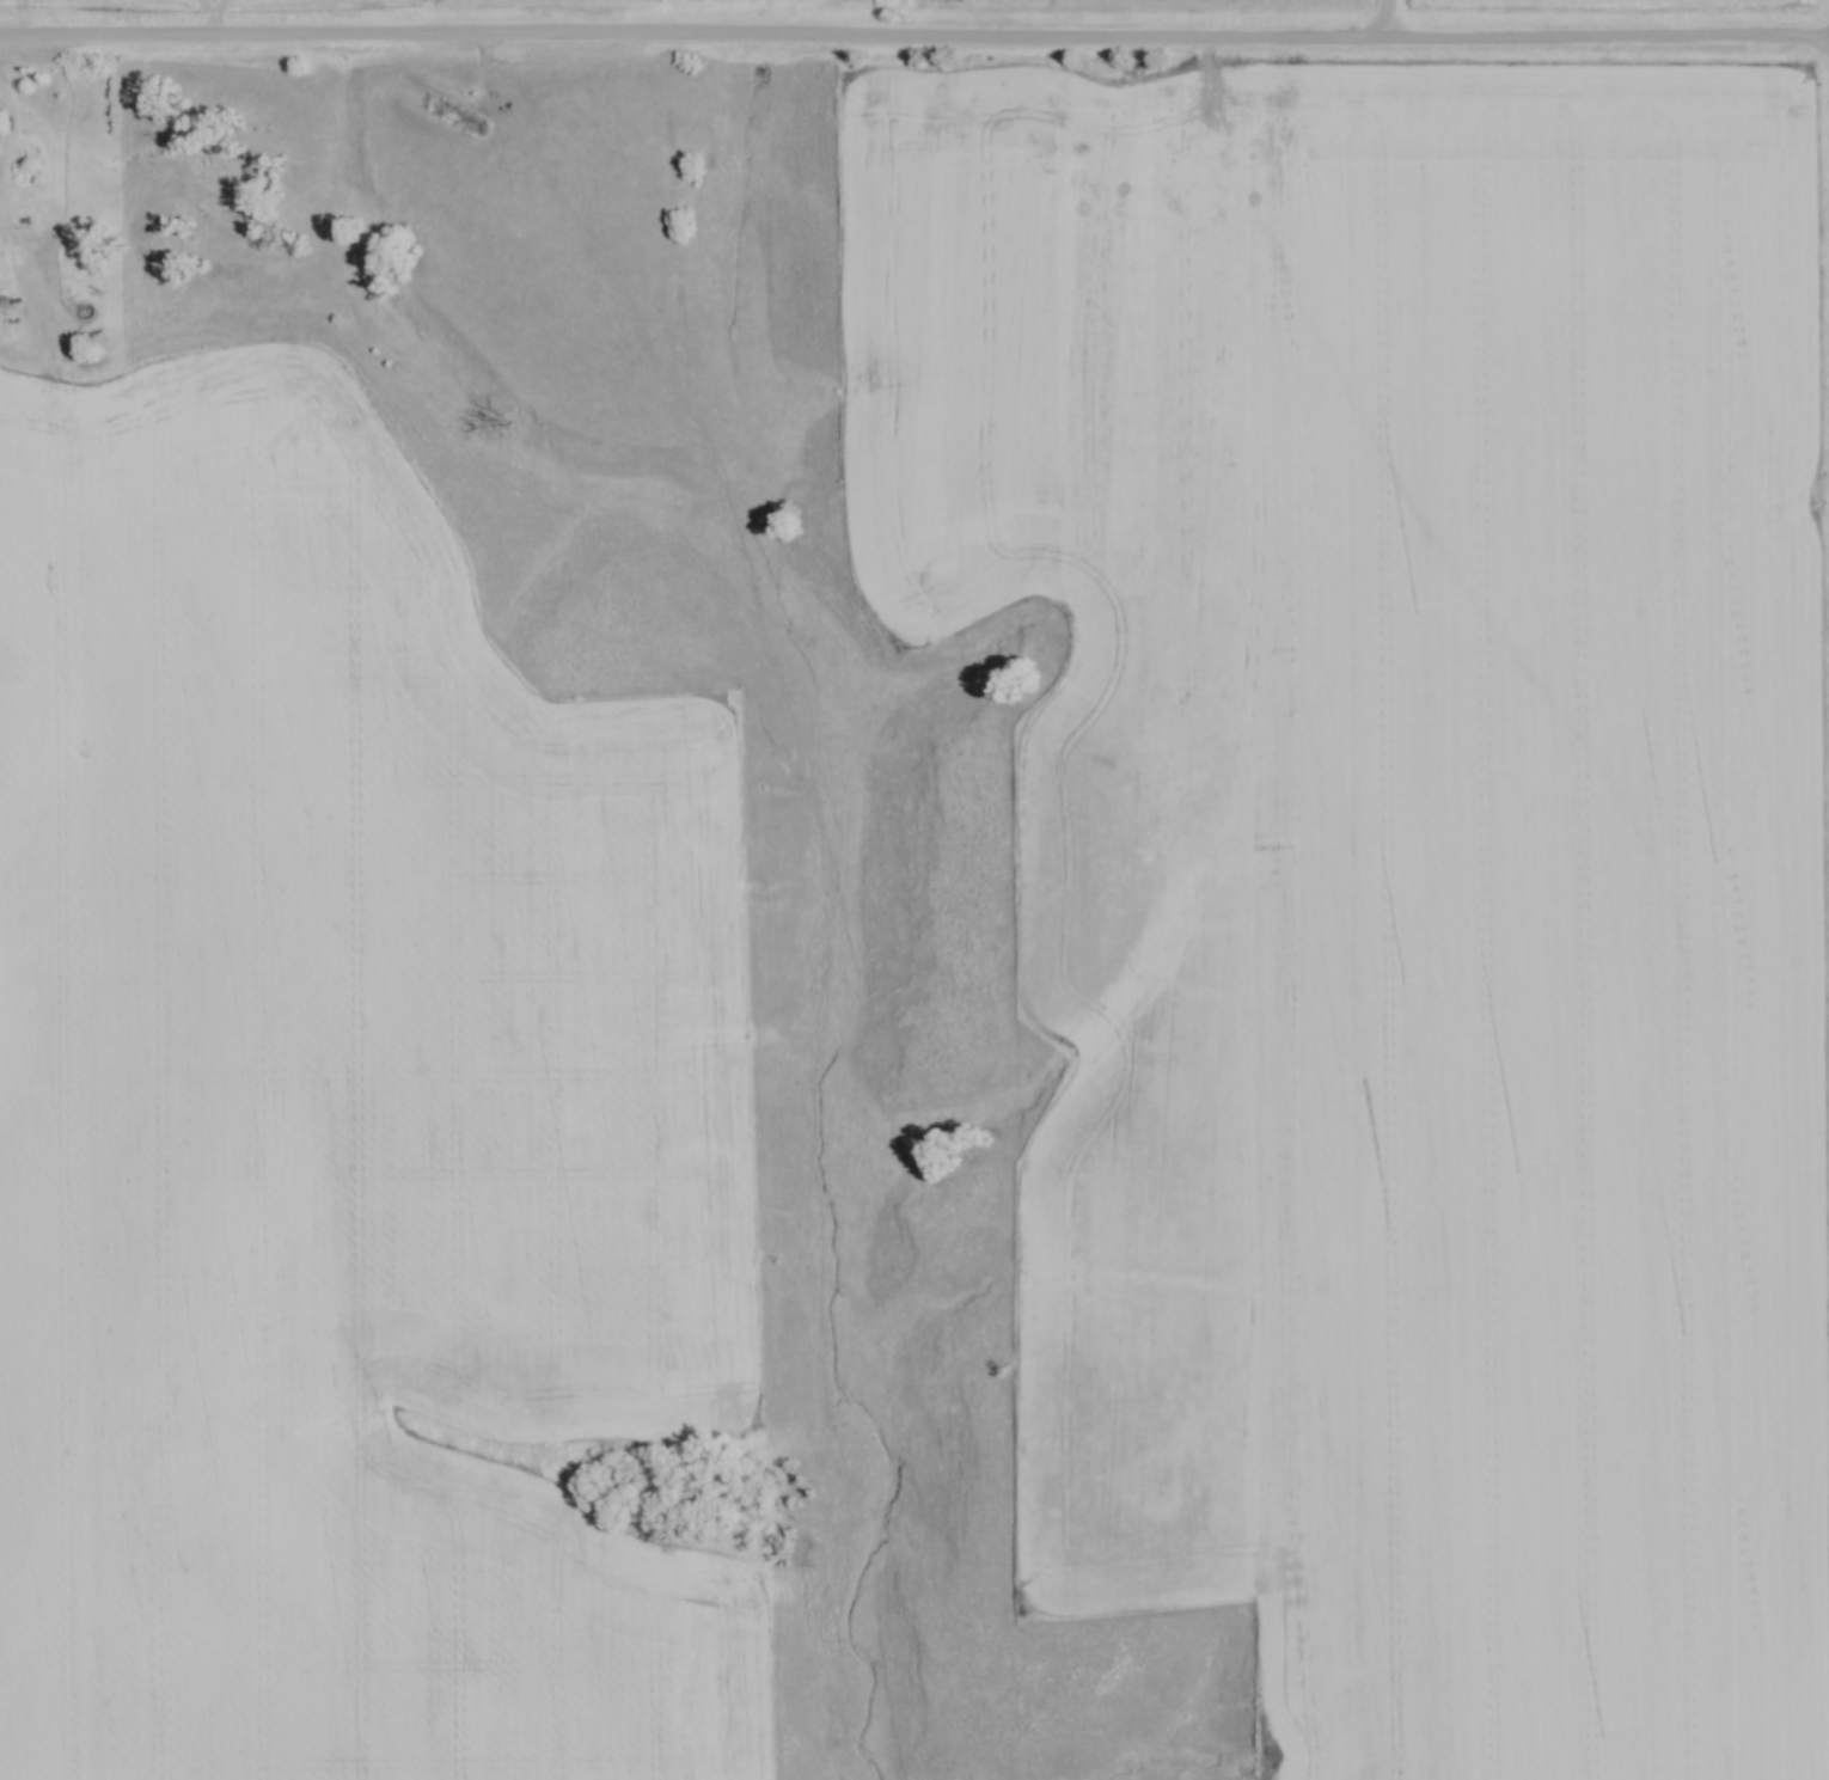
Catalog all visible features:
road: (1382, 19)
road: (913, 39)

